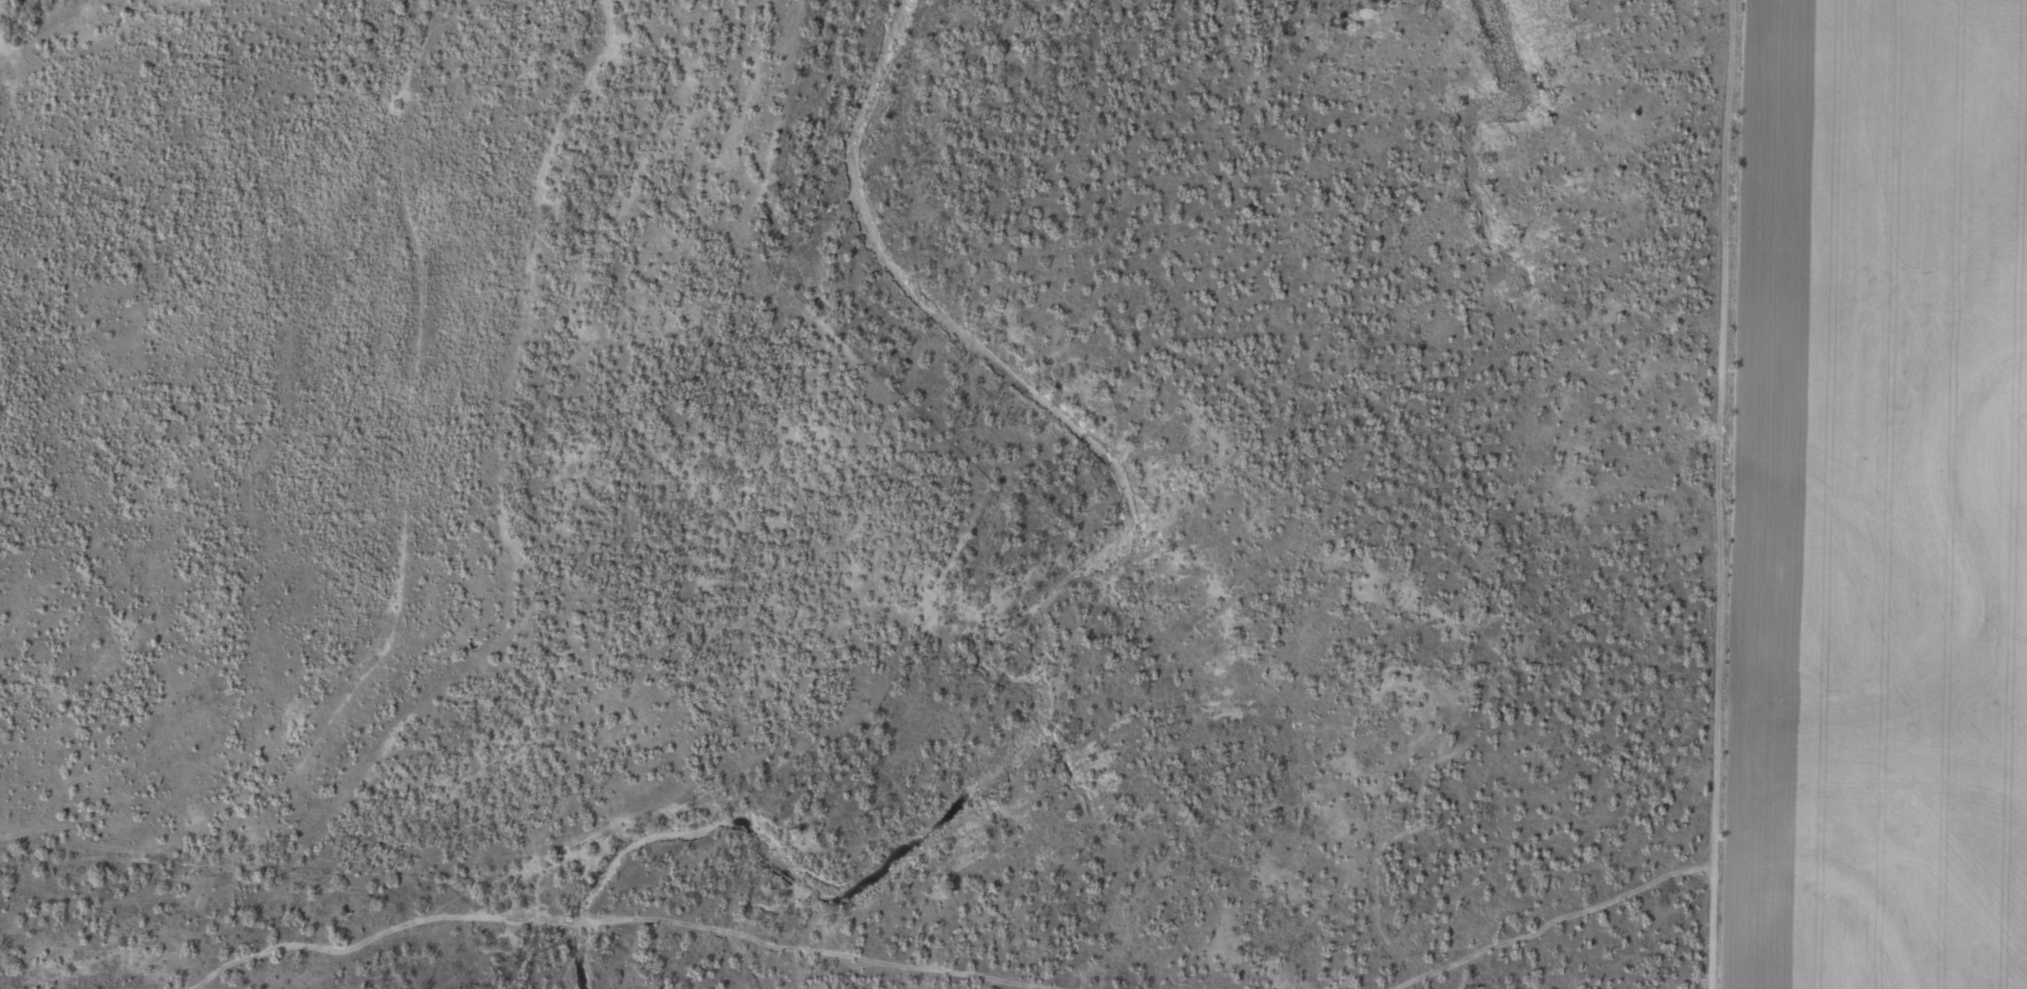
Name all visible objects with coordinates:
road: (1704, 494)

